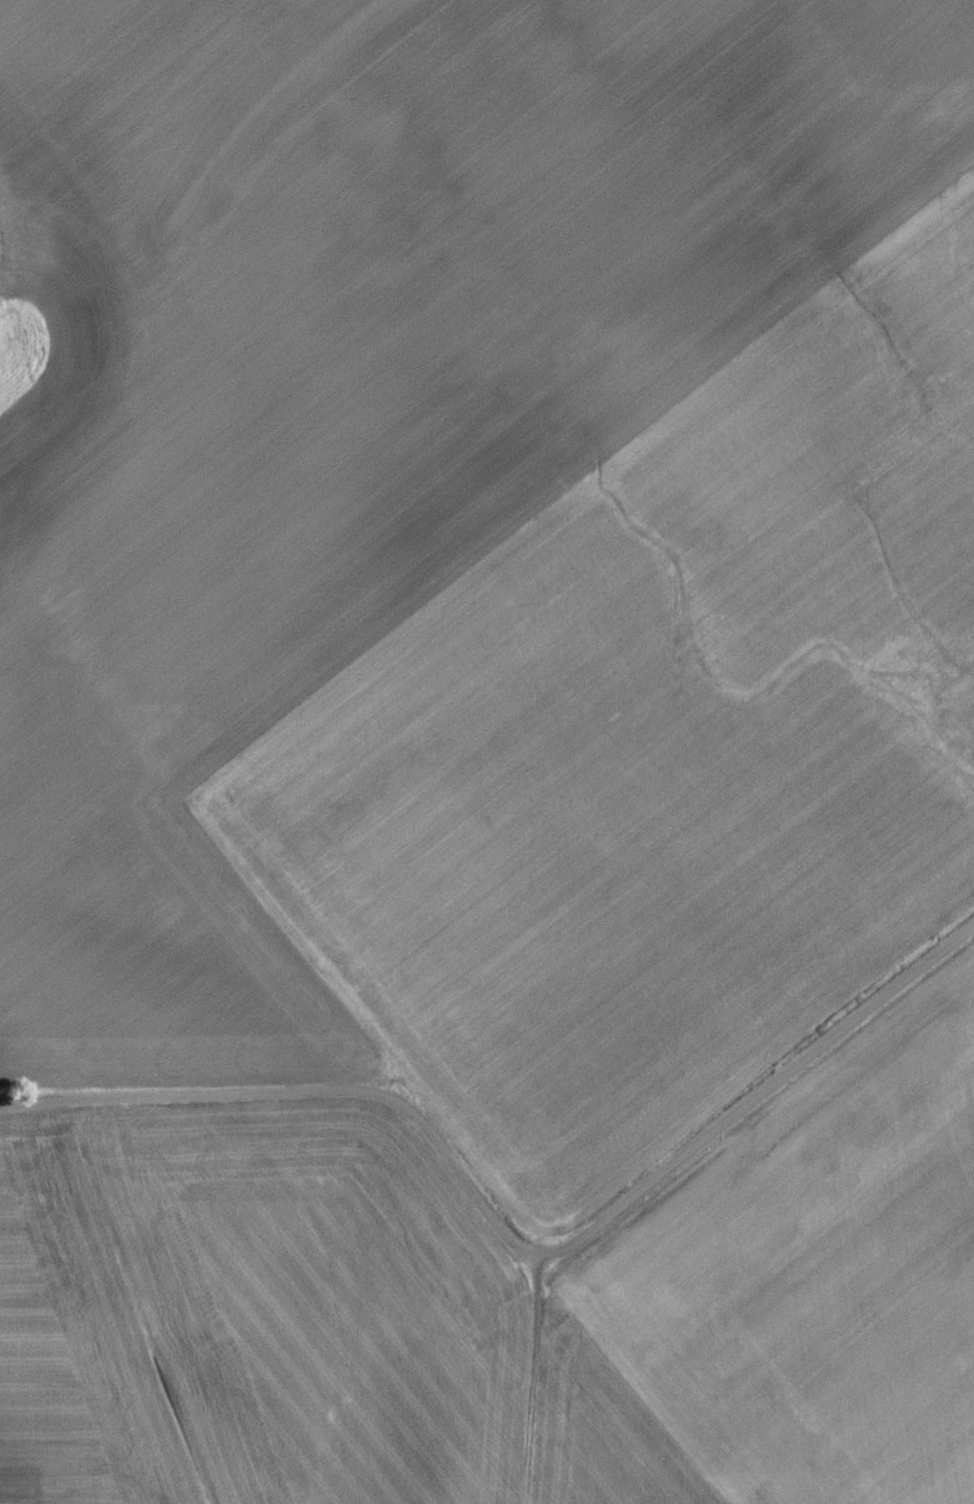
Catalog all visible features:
road: (512, 1227)
road: (492, 1365)

